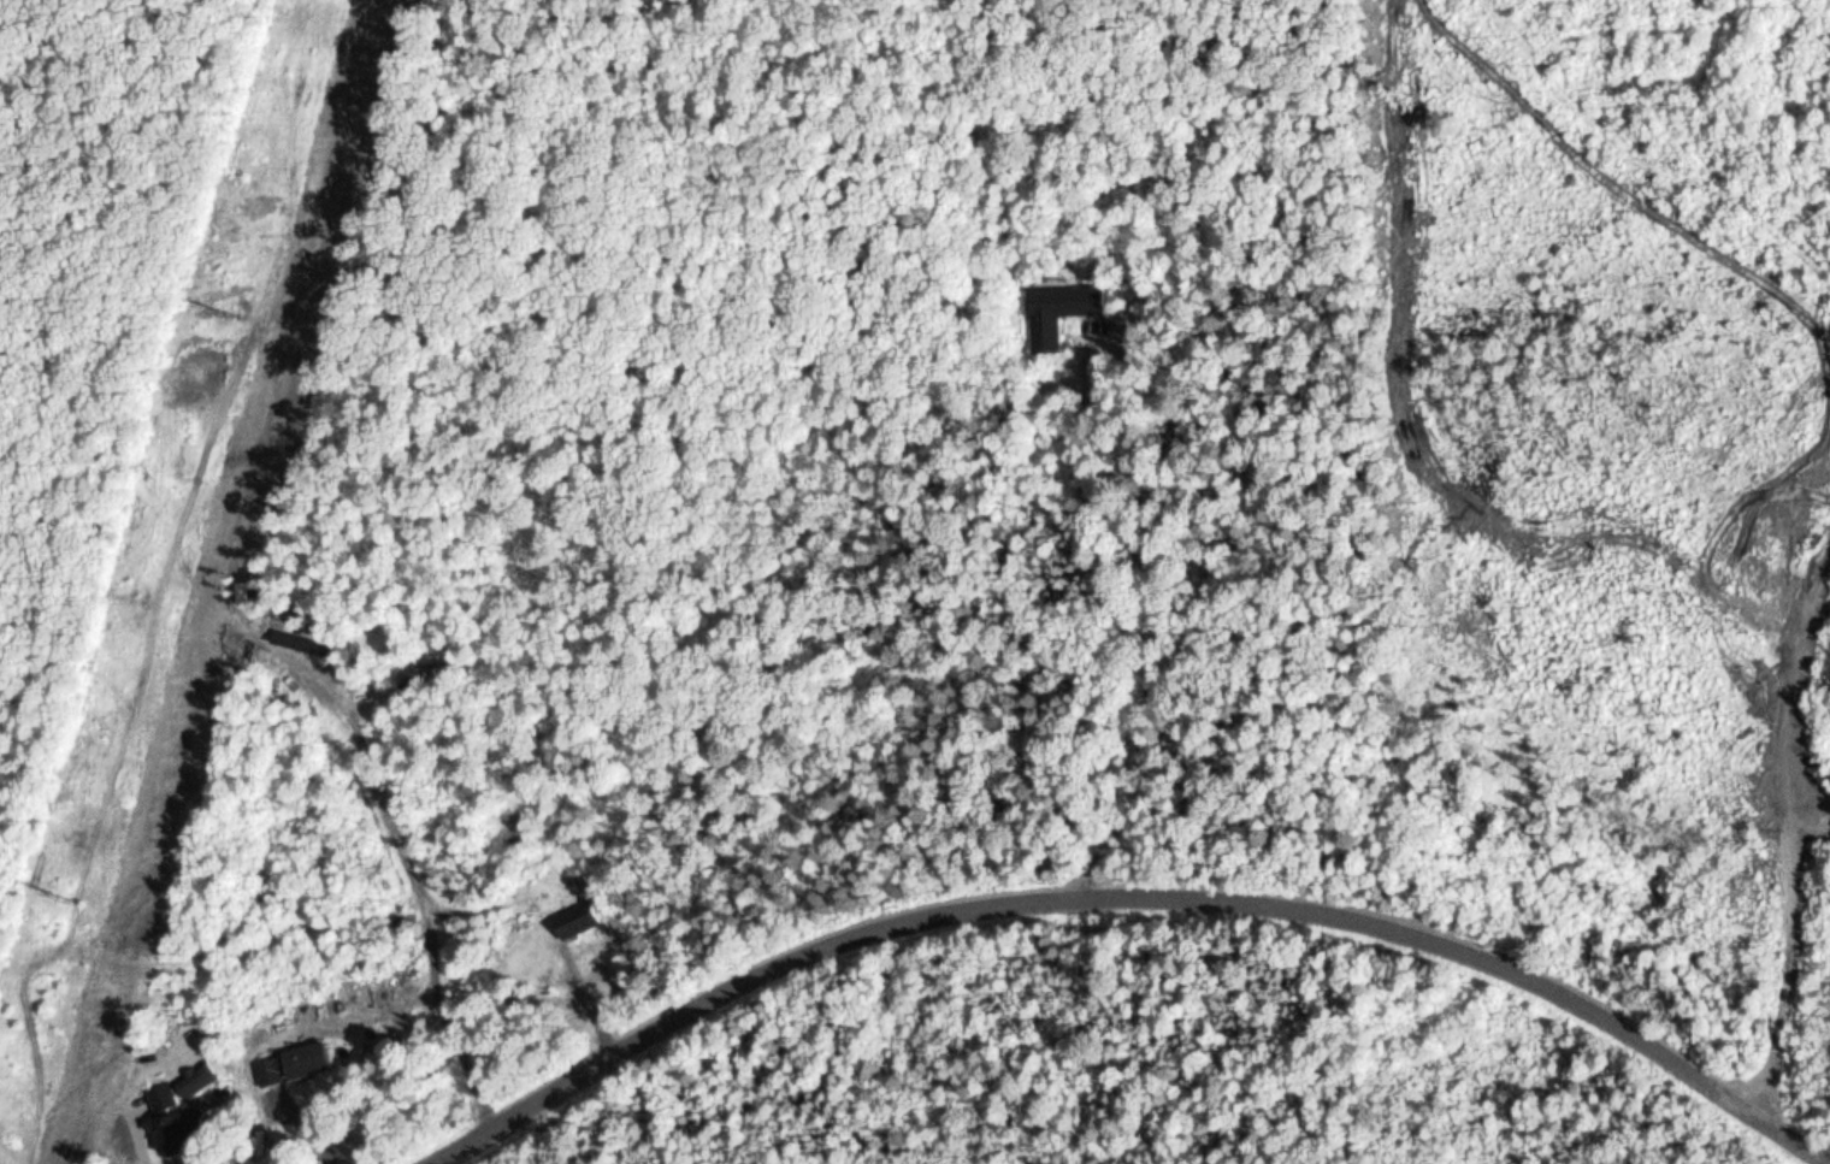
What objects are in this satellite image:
building: (1061, 303)
road: (1032, 456)
road: (1783, 826)
road: (1143, 899)
building: (578, 918)
building: (464, 1063)
building: (290, 1065)
building: (194, 1077)
building: (160, 1098)
building: (179, 1133)

